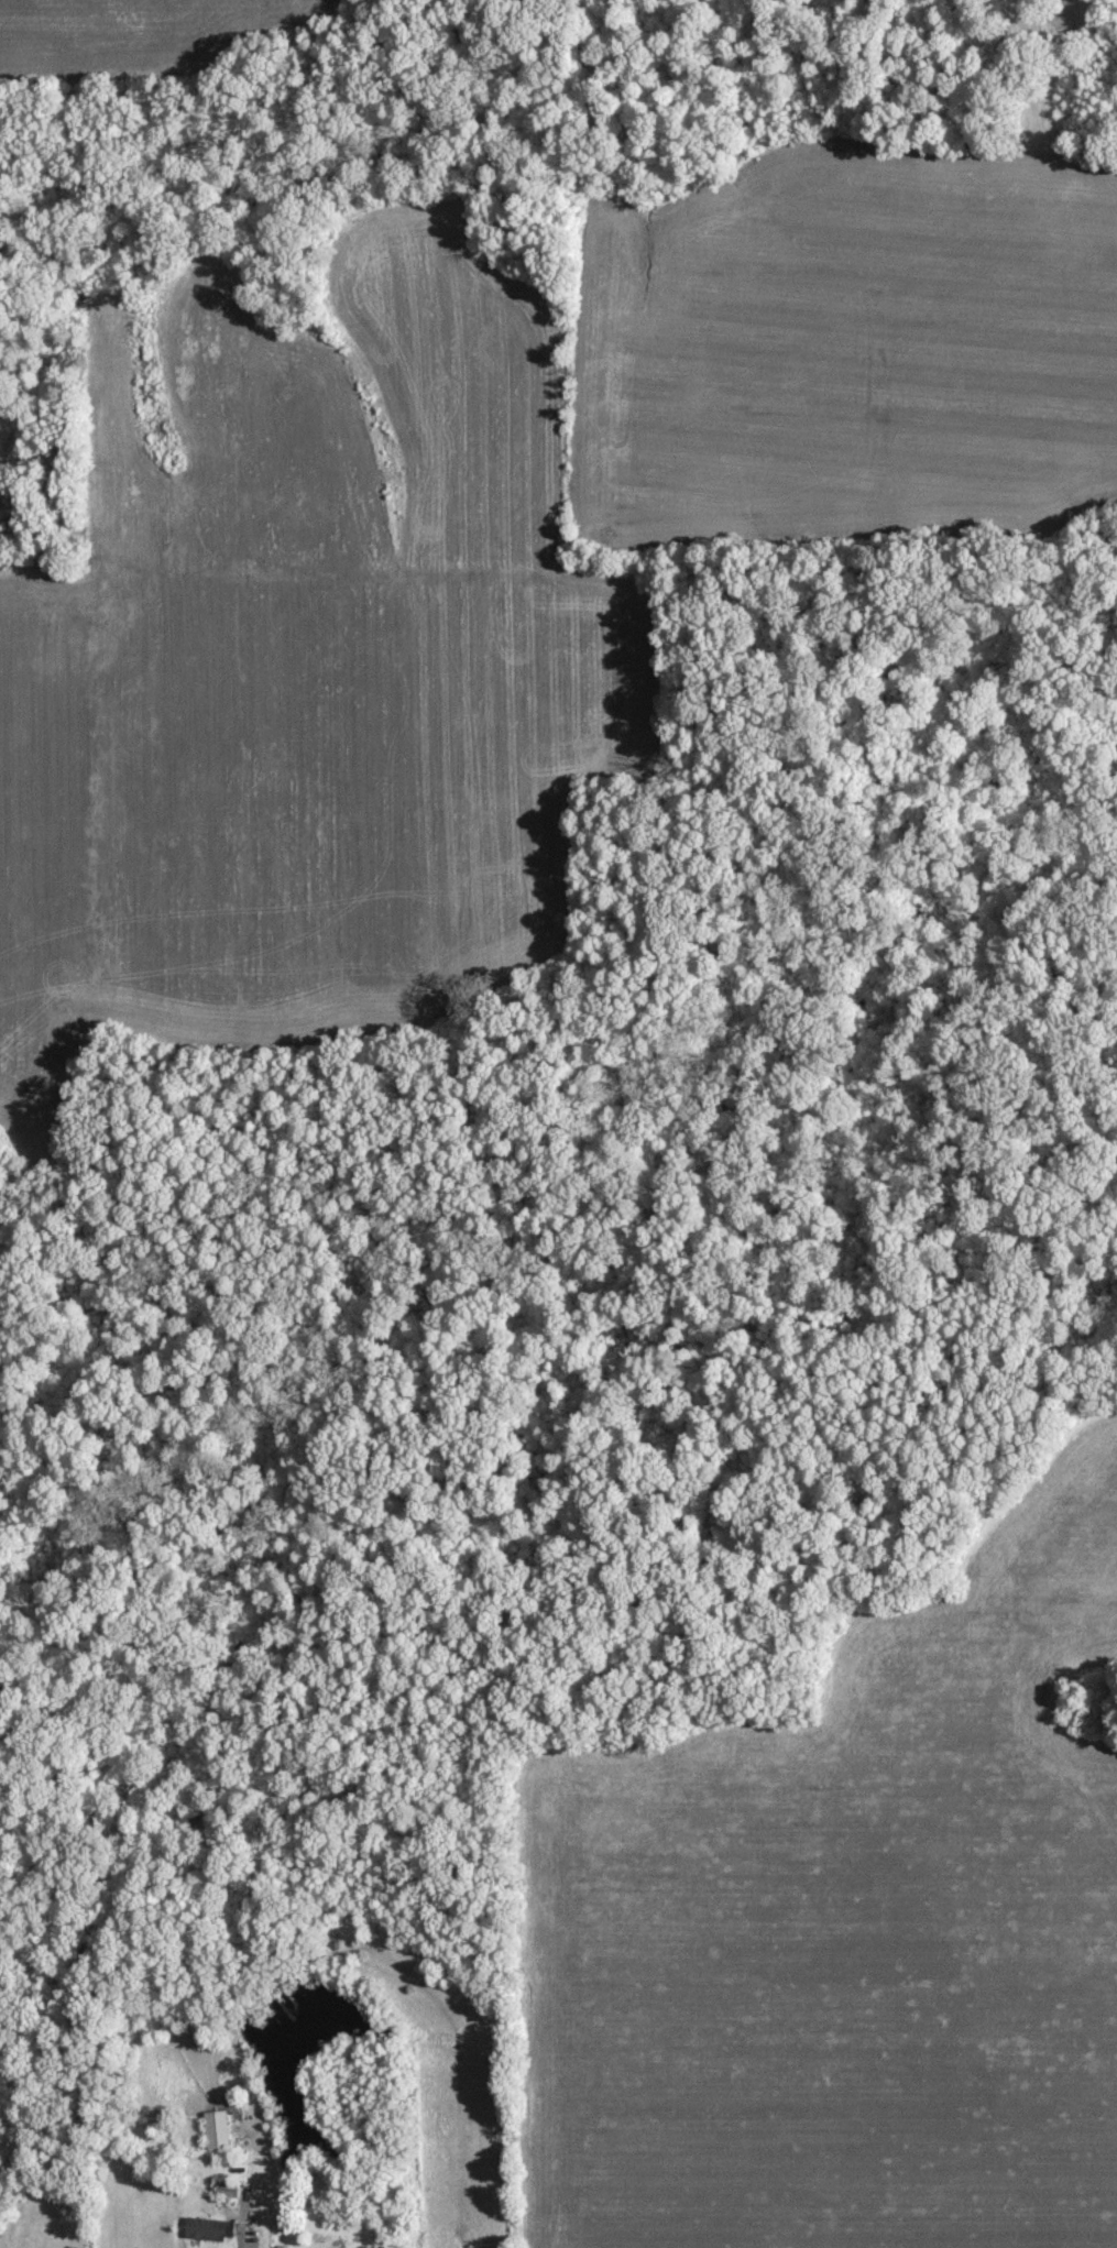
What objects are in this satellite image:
building: (220, 2129)
building: (230, 2190)
building: (208, 2229)
road: (233, 2229)

